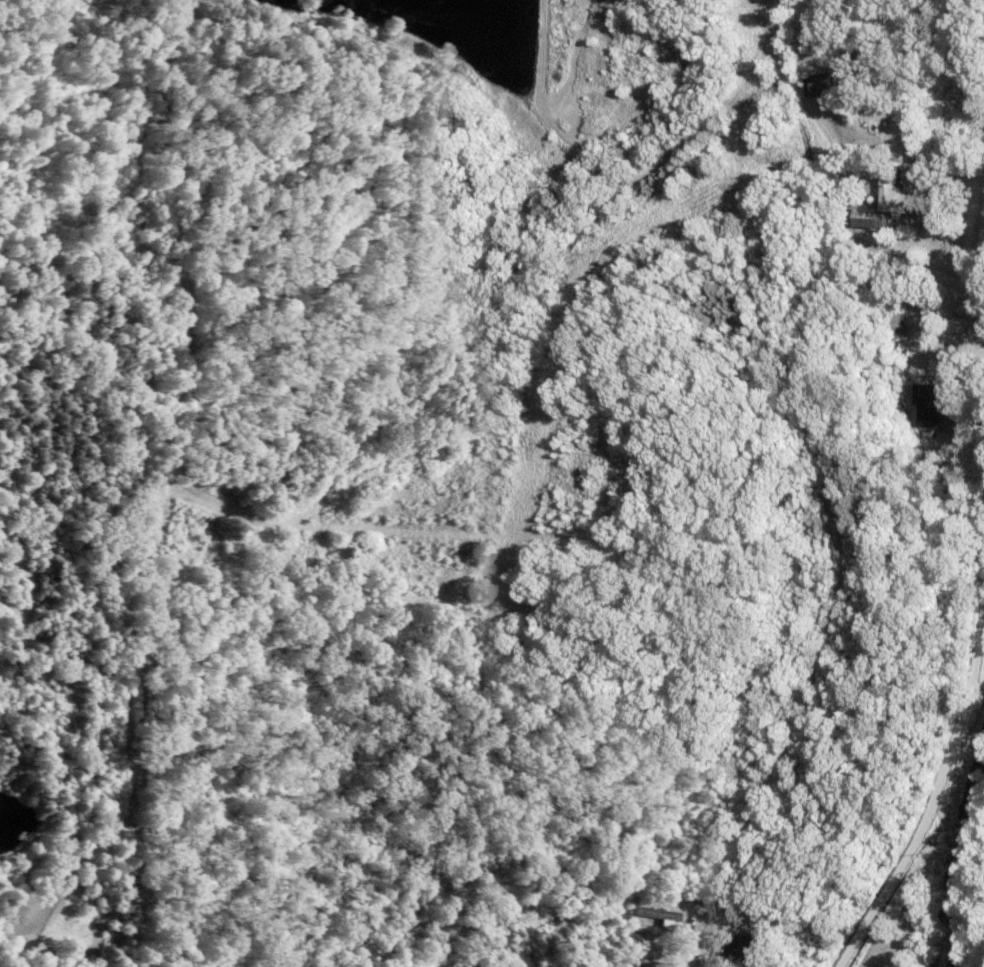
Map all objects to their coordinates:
building: (820, 85)
building: (894, 194)
building: (891, 322)
building: (928, 403)
road: (934, 797)
river: (955, 859)
road: (691, 937)
building: (748, 951)

